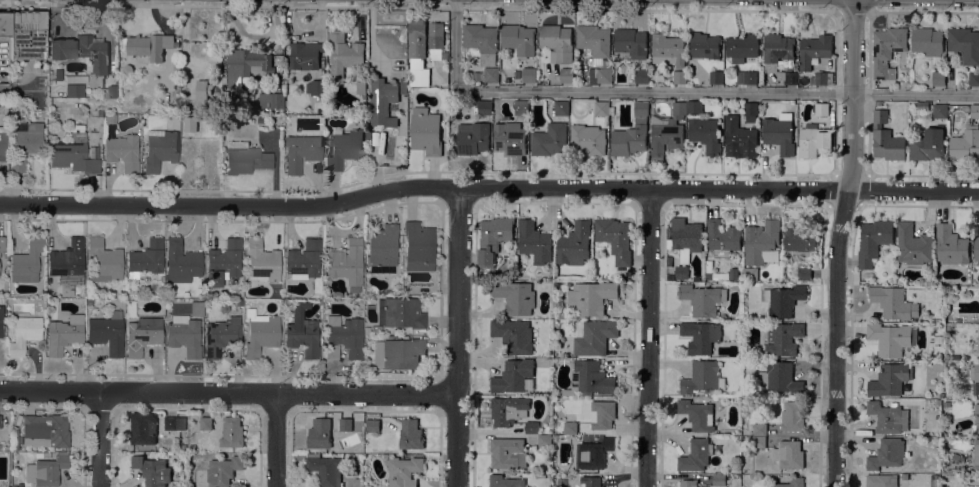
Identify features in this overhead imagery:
road: (646, 9)
road: (853, 9)
road: (923, 11)
building: (4, 24)
building: (27, 35)
building: (435, 35)
building: (417, 38)
building: (518, 38)
building: (481, 41)
building: (557, 42)
building: (631, 42)
building: (928, 42)
building: (964, 44)
building: (150, 45)
building: (704, 45)
building: (741, 46)
building: (667, 49)
building: (814, 49)
building: (887, 49)
building: (596, 50)
building: (84, 54)
building: (304, 55)
building: (343, 55)
building: (779, 55)
building: (247, 64)
building: (58, 74)
building: (491, 74)
building: (529, 74)
building: (566, 74)
building: (477, 75)
building: (642, 75)
building: (679, 76)
building: (716, 76)
building: (746, 76)
building: (821, 77)
building: (803, 78)
building: (938, 78)
building: (974, 78)
building: (76, 79)
building: (360, 83)
building: (904, 84)
building: (403, 85)
building: (316, 87)
road: (5, 89)
building: (75, 90)
building: (109, 91)
road: (672, 91)
building: (202, 92)
building: (271, 100)
building: (382, 100)
building: (912, 105)
building: (693, 106)
building: (484, 107)
building: (521, 107)
building: (561, 107)
building: (601, 108)
building: (821, 108)
building: (679, 109)
building: (939, 110)
building: (975, 110)
building: (750, 111)
building: (99, 113)
building: (109, 117)
building: (261, 119)
building: (99, 121)
building: (190, 123)
building: (426, 131)
building: (632, 132)
building: (705, 133)
building: (779, 134)
building: (664, 136)
building: (472, 137)
building: (509, 137)
building: (739, 138)
building: (886, 138)
building: (3, 139)
building: (549, 139)
building: (588, 139)
building: (814, 140)
building: (26, 143)
building: (928, 143)
building: (965, 143)
building: (237, 144)
building: (345, 147)
building: (160, 148)
building: (122, 151)
building: (301, 152)
building: (73, 154)
building: (246, 159)
road: (488, 187)
building: (684, 237)
building: (722, 237)
building: (493, 238)
building: (615, 238)
building: (800, 240)
building: (873, 240)
building: (534, 241)
road: (839, 242)
building: (763, 243)
building: (2, 244)
building: (574, 244)
building: (913, 244)
building: (950, 244)
building: (419, 246)
building: (382, 248)
building: (976, 248)
building: (145, 259)
building: (304, 259)
building: (104, 260)
building: (27, 261)
building: (262, 261)
building: (669, 261)
building: (181, 262)
building: (223, 262)
building: (346, 263)
building: (68, 264)
building: (681, 271)
building: (804, 272)
building: (52, 291)
building: (239, 292)
building: (515, 297)
building: (591, 297)
building: (702, 298)
building: (783, 299)
building: (239, 302)
building: (893, 302)
building: (401, 312)
building: (1, 319)
building: (187, 330)
building: (366, 330)
building: (107, 332)
building: (261, 332)
building: (24, 334)
building: (64, 334)
building: (345, 334)
building: (222, 335)
building: (303, 335)
building: (513, 335)
building: (142, 336)
building: (593, 336)
building: (700, 336)
road: (461, 337)
road: (649, 338)
building: (782, 339)
building: (892, 339)
building: (978, 343)
building: (398, 353)
building: (974, 372)
building: (513, 375)
building: (703, 377)
building: (779, 377)
building: (589, 378)
building: (890, 379)
road: (230, 393)
building: (508, 409)
building: (602, 414)
building: (697, 414)
building: (792, 416)
building: (888, 417)
building: (977, 417)
building: (0, 421)
building: (174, 422)
building: (206, 423)
building: (345, 424)
building: (373, 425)
building: (143, 427)
building: (531, 427)
building: (570, 427)
building: (759, 428)
building: (45, 430)
building: (232, 432)
building: (319, 433)
building: (410, 434)
road: (102, 439)
road: (278, 440)
building: (544, 440)
building: (758, 441)
building: (0, 446)
building: (183, 447)
building: (192, 447)
building: (507, 452)
building: (596, 452)
building: (412, 453)
building: (886, 453)
building: (788, 454)
building: (976, 454)
building: (42, 455)
building: (694, 455)
building: (326, 469)
building: (964, 469)
building: (46, 470)
building: (152, 470)
building: (223, 470)
building: (955, 470)
building: (404, 471)
building: (905, 475)
building: (719, 479)
building: (880, 480)
building: (357, 481)
building: (505, 481)
building: (590, 481)
building: (688, 483)
building: (789, 483)
building: (367, 486)

